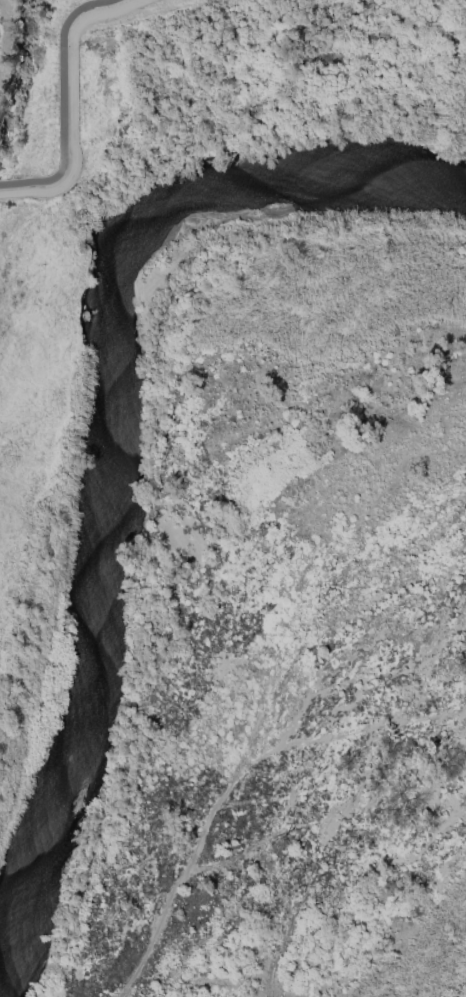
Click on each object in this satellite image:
park: (111, 14)
road: (63, 103)
river: (114, 416)

